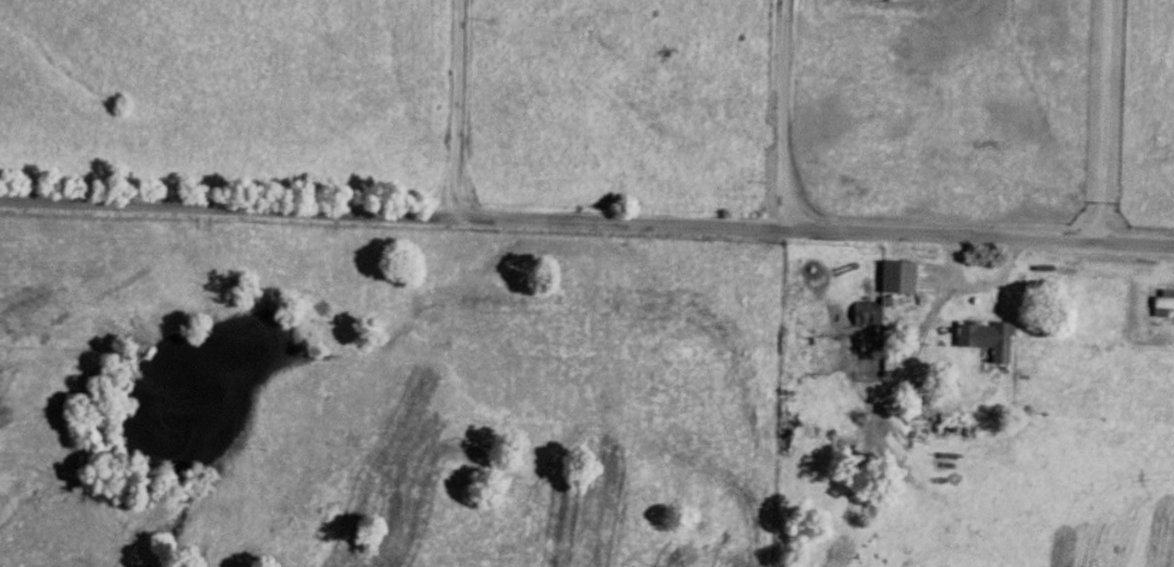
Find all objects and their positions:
road: (461, 109)
road: (787, 113)
road: (1106, 122)
road: (586, 221)
building: (865, 316)
building: (983, 341)

